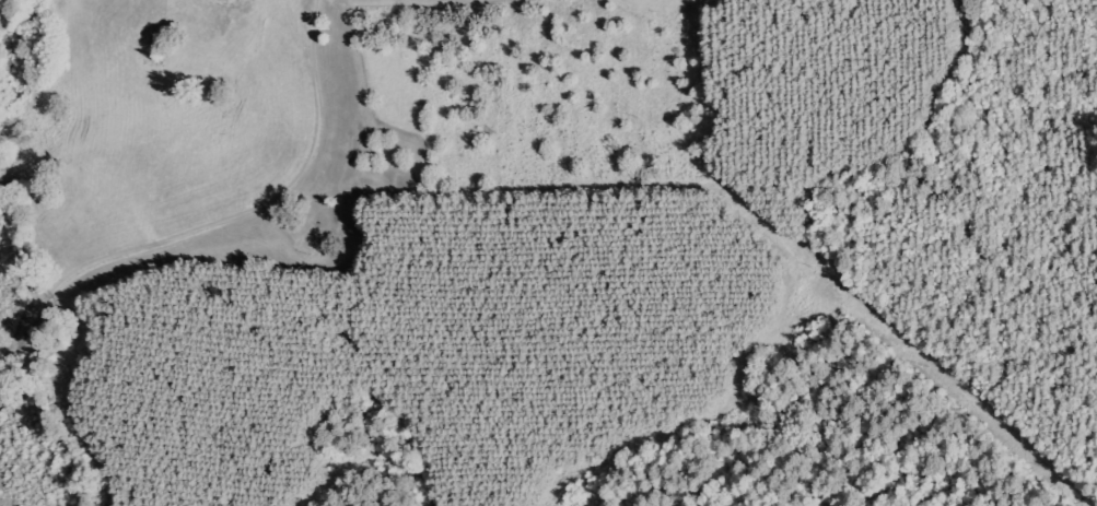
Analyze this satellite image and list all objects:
road: (212, 220)

